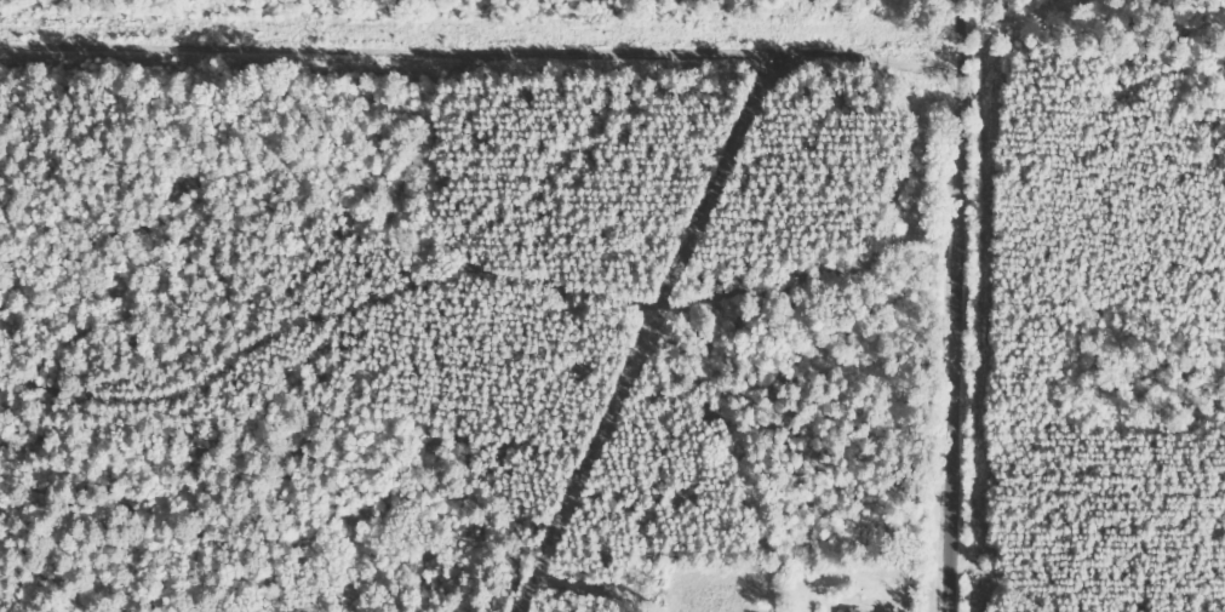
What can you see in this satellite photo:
road: (983, 305)
building: (854, 610)

